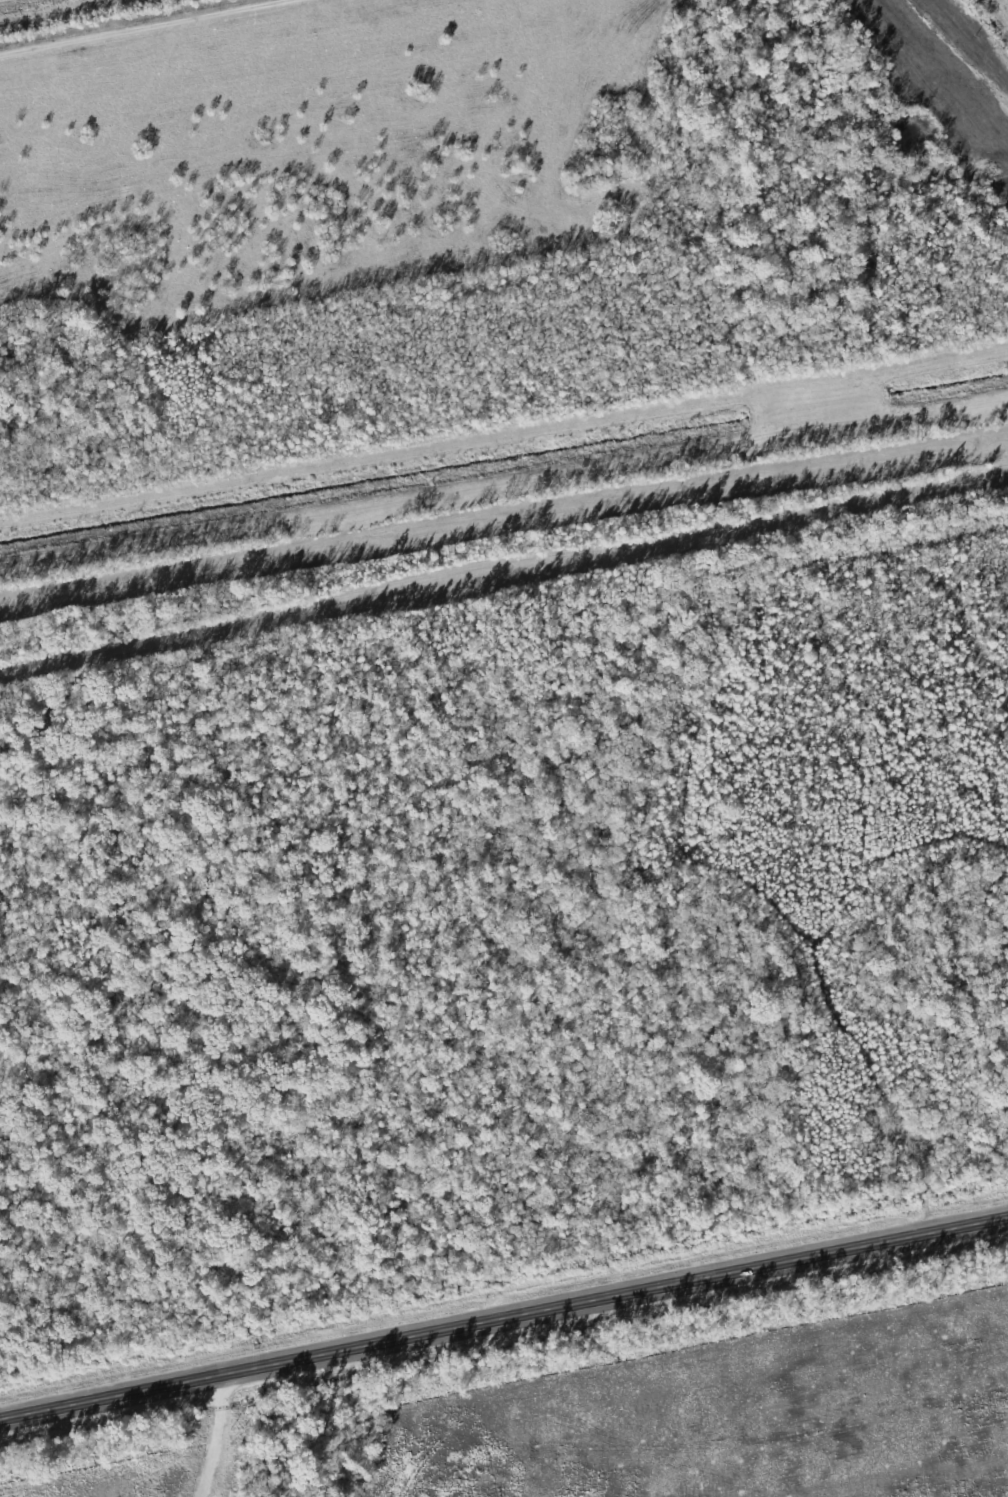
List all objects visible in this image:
road: (503, 1316)
road: (214, 1436)

